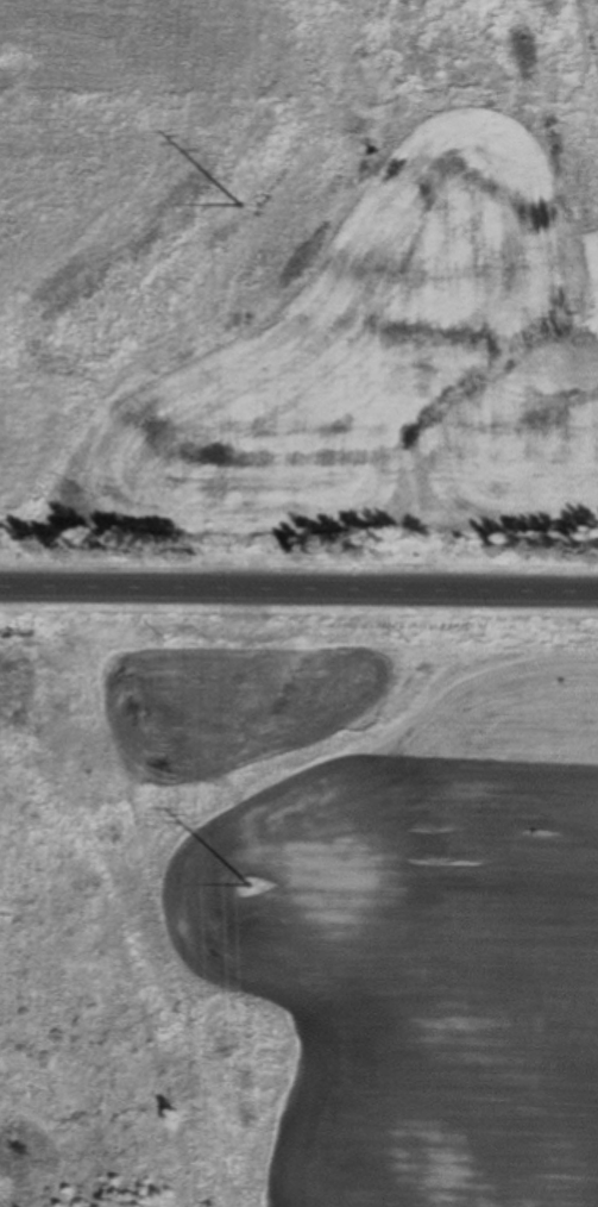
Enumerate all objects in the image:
power tower: (239, 205)
road: (298, 593)
power tower: (245, 886)
road: (516, 1133)

